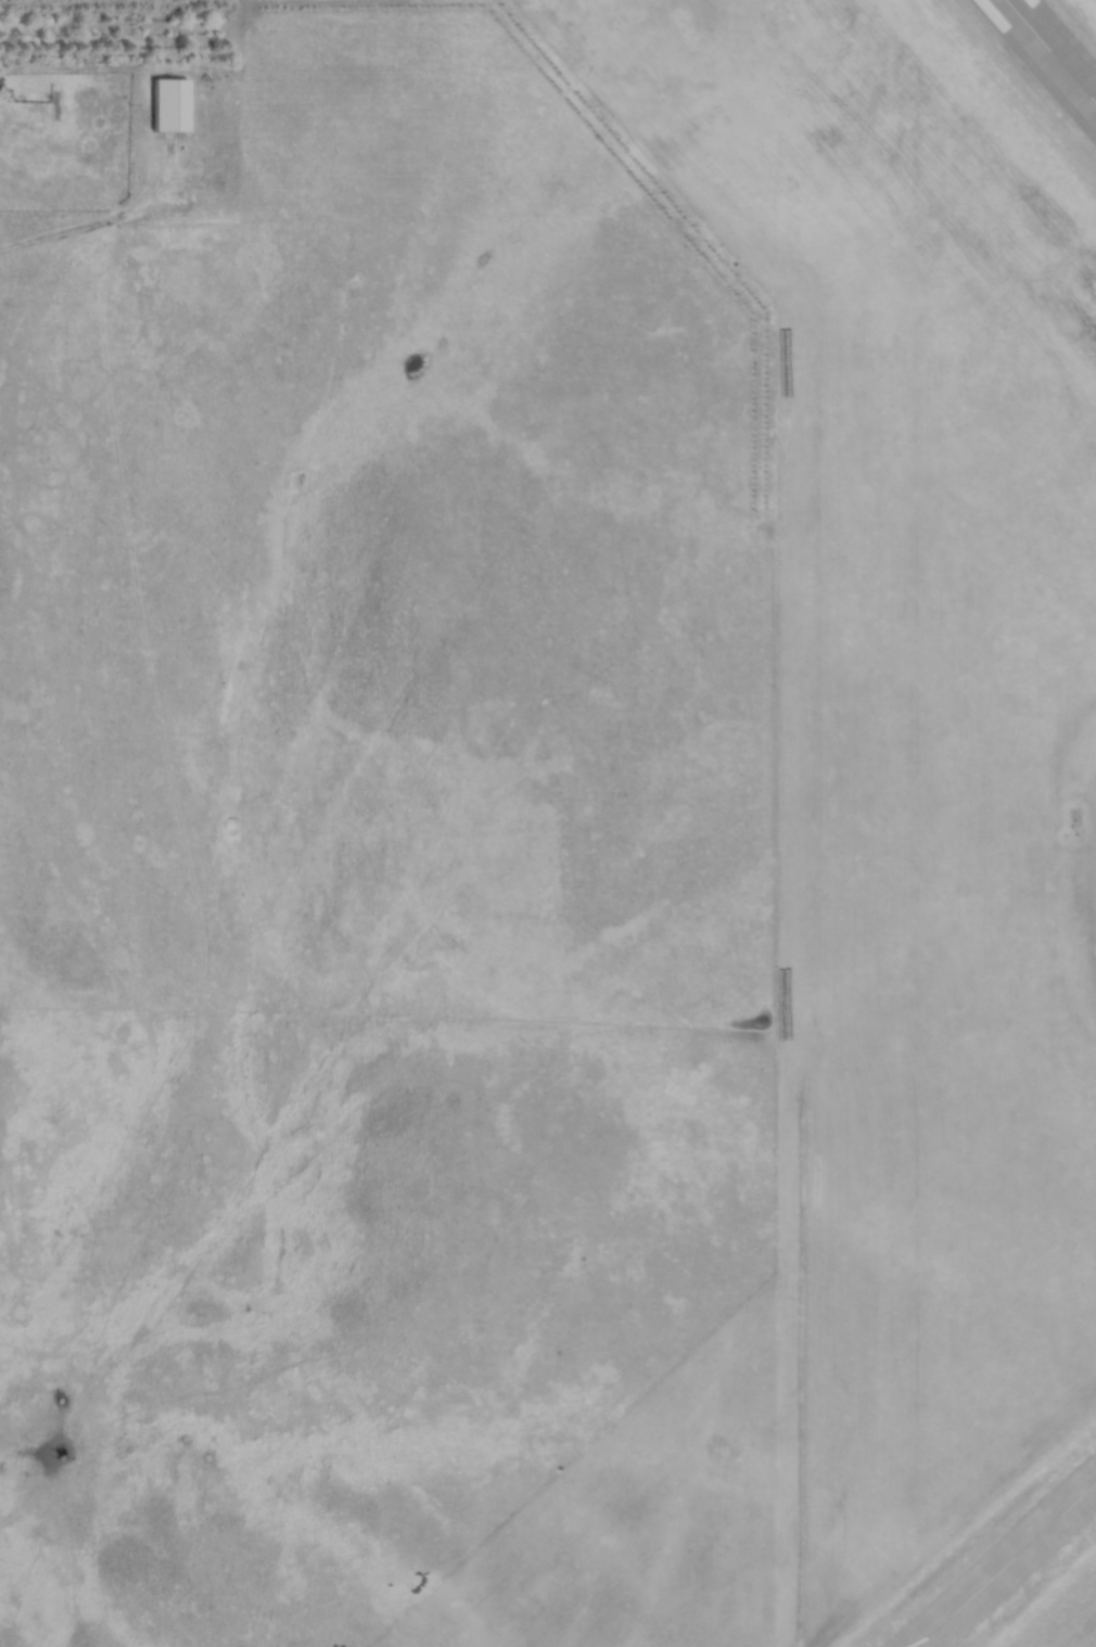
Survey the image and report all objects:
airport runway: (1052, 50)
building: (1050, 53)
building: (169, 106)
road: (99, 238)
airport: (927, 761)
airport runway: (1008, 1567)

